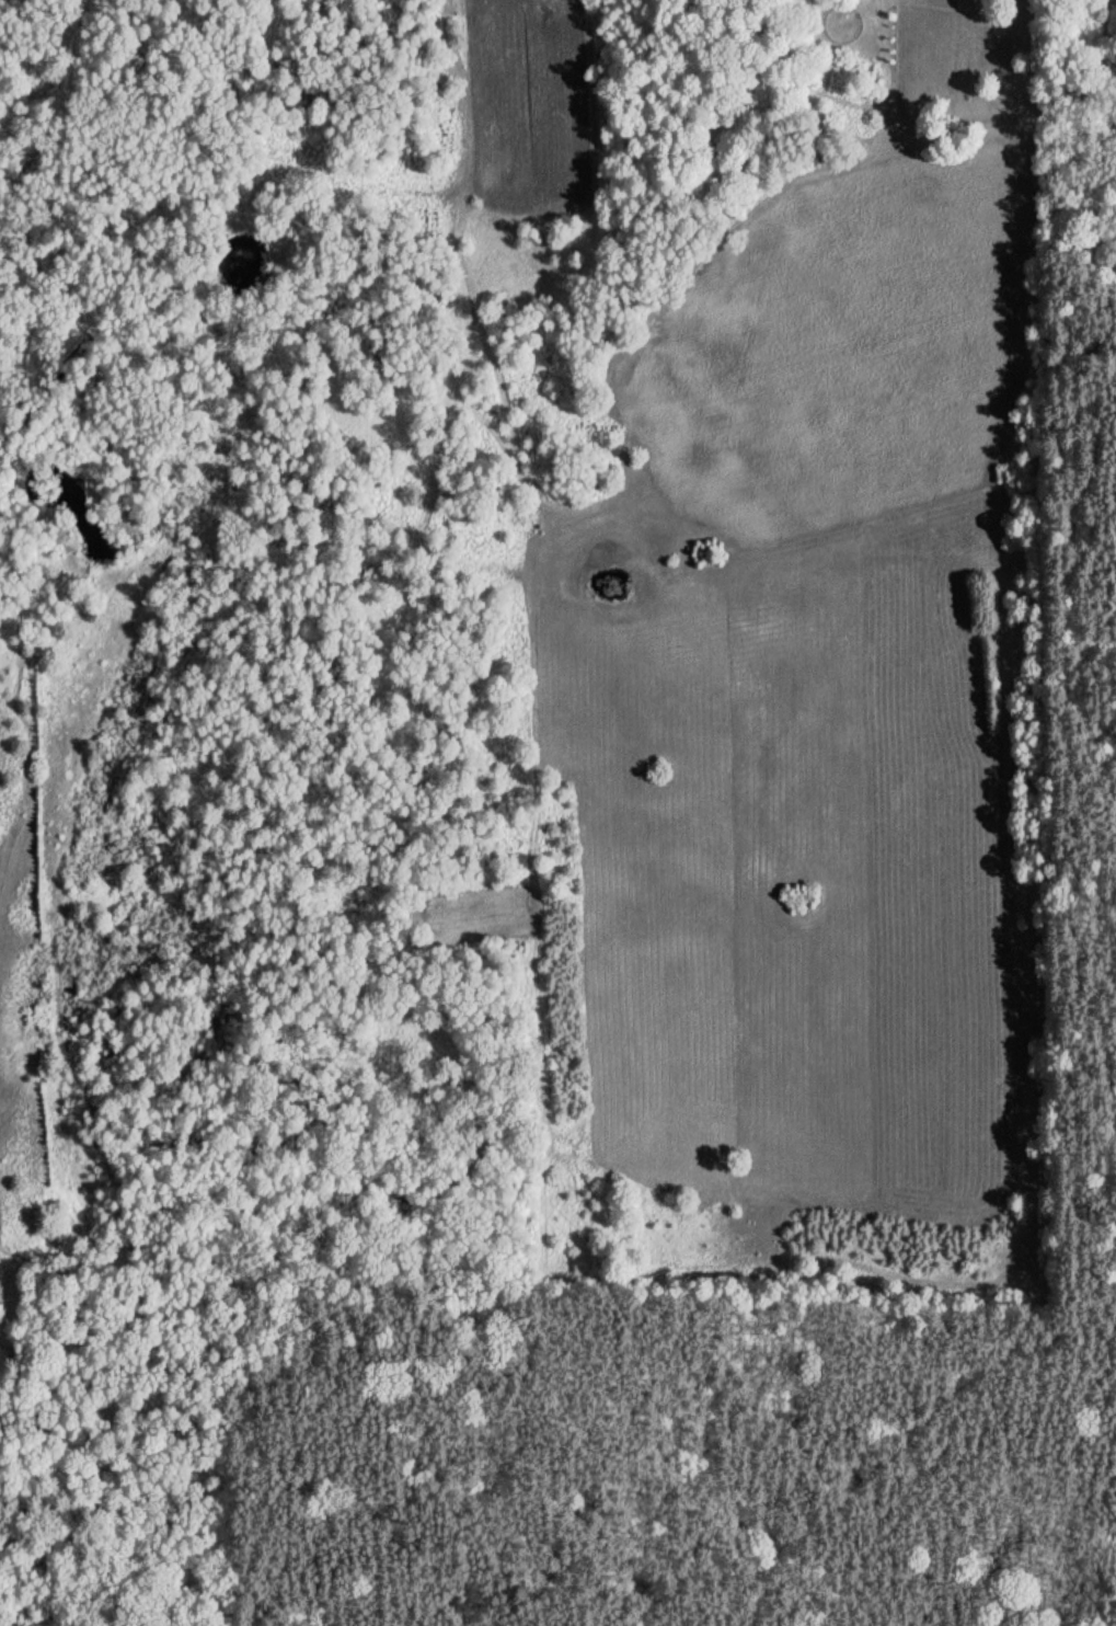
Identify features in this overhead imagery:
road: (1072, 568)
road: (1107, 885)
road: (920, 1423)

